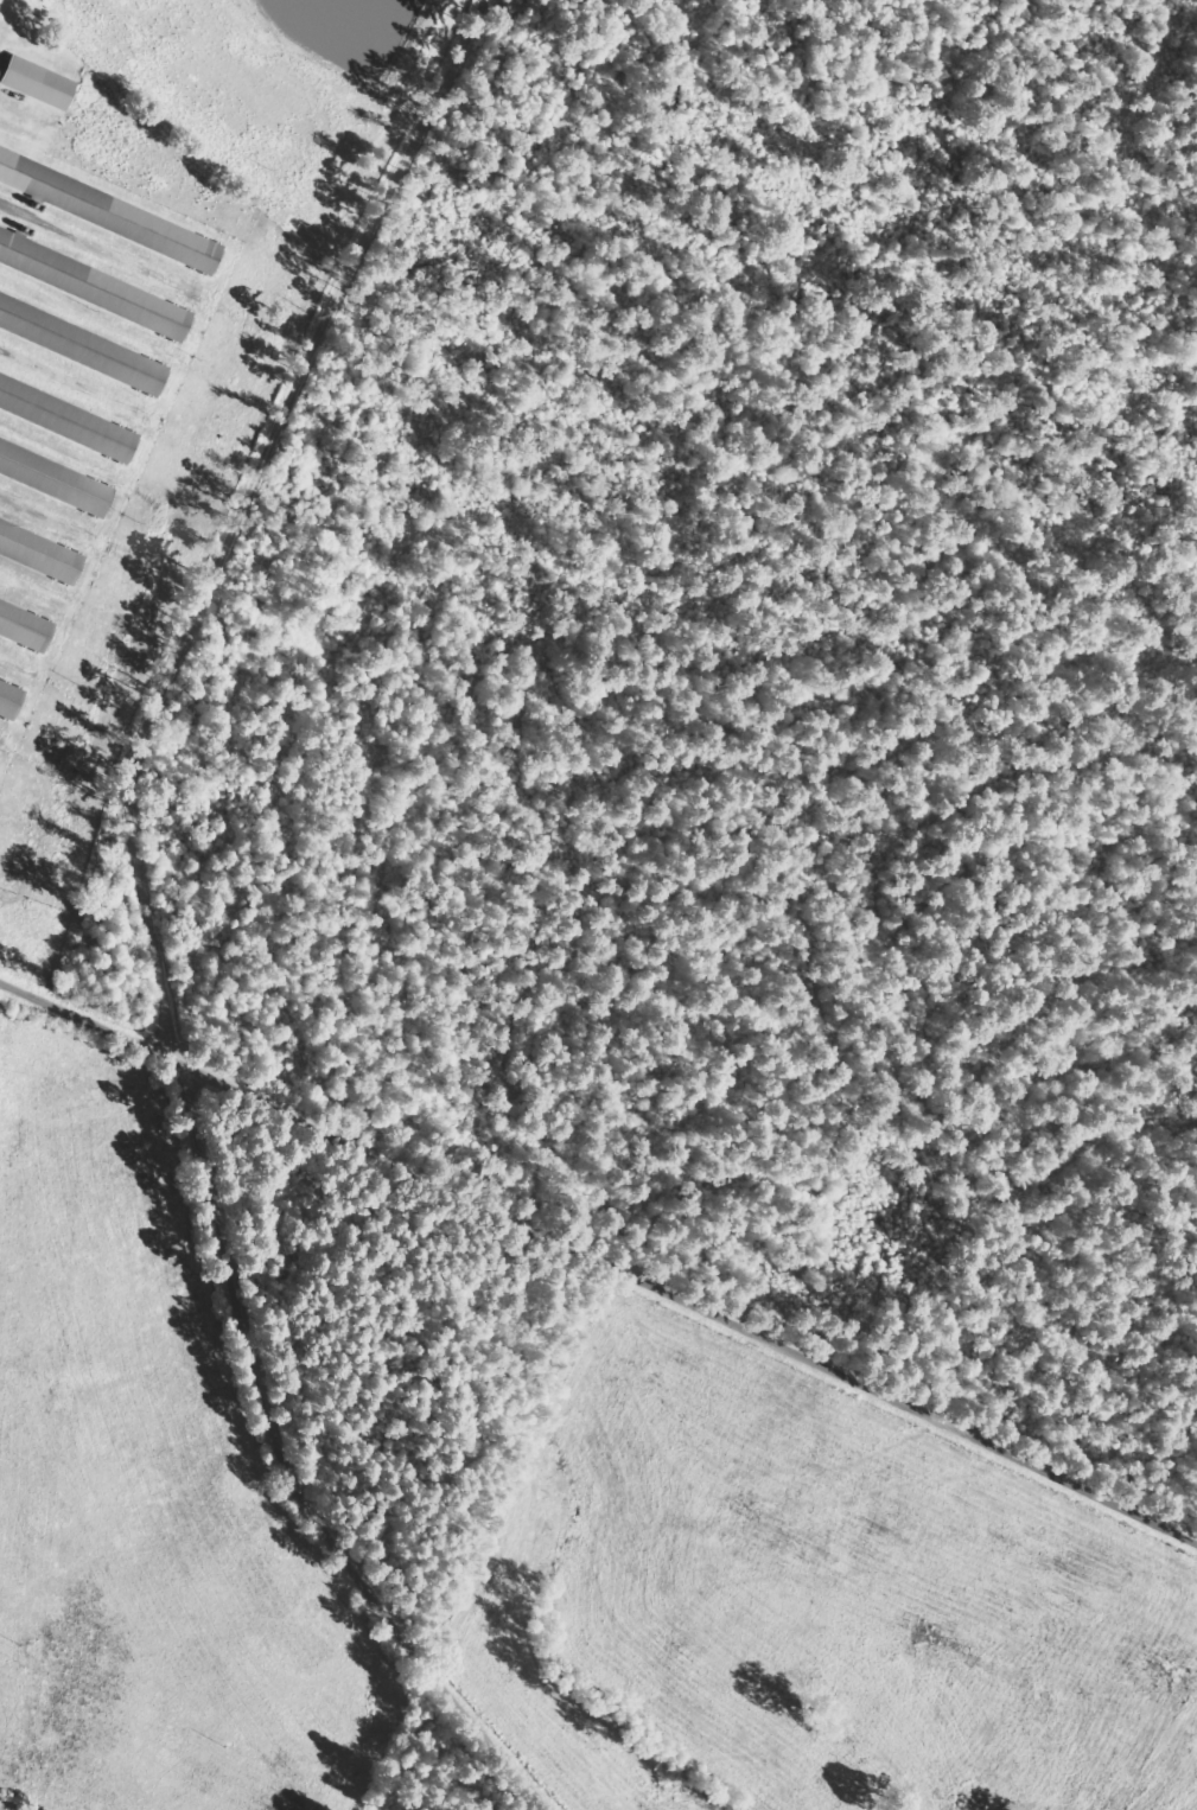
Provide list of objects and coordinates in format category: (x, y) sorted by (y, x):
building: (42, 82)
building: (112, 208)
building: (96, 281)
building: (69, 414)
building: (57, 473)
road: (275, 557)
building: (12, 690)
road: (594, 1315)
road: (298, 1503)

